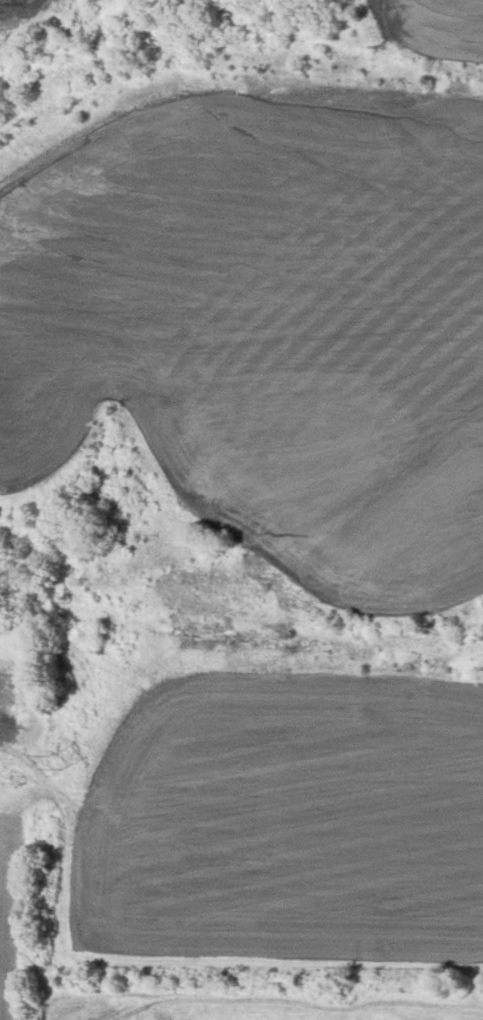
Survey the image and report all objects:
crop: (251, 479)
power tower: (61, 768)
crop: (9, 911)
crop: (247, 1006)

